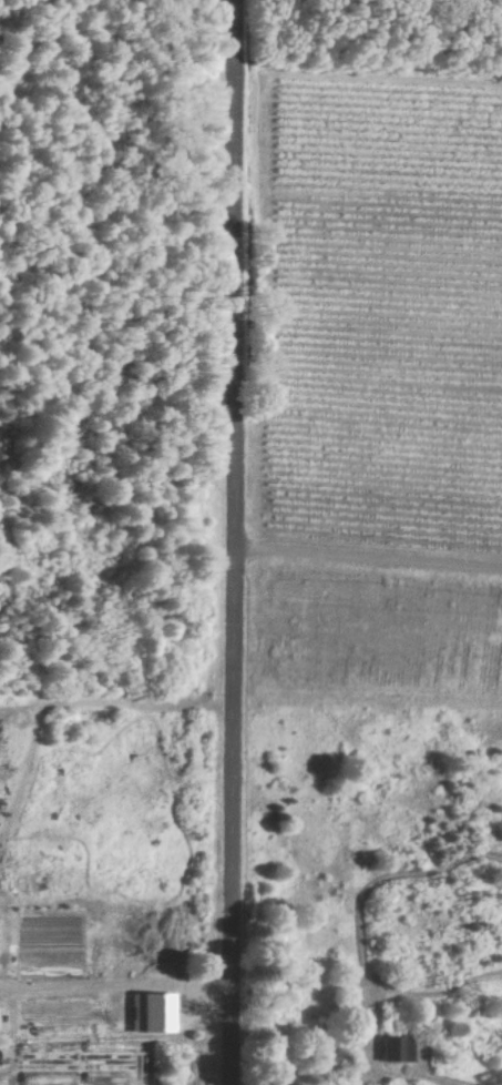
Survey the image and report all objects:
road: (235, 542)
road: (368, 556)
road: (117, 980)
building: (153, 1013)
building: (396, 1049)

